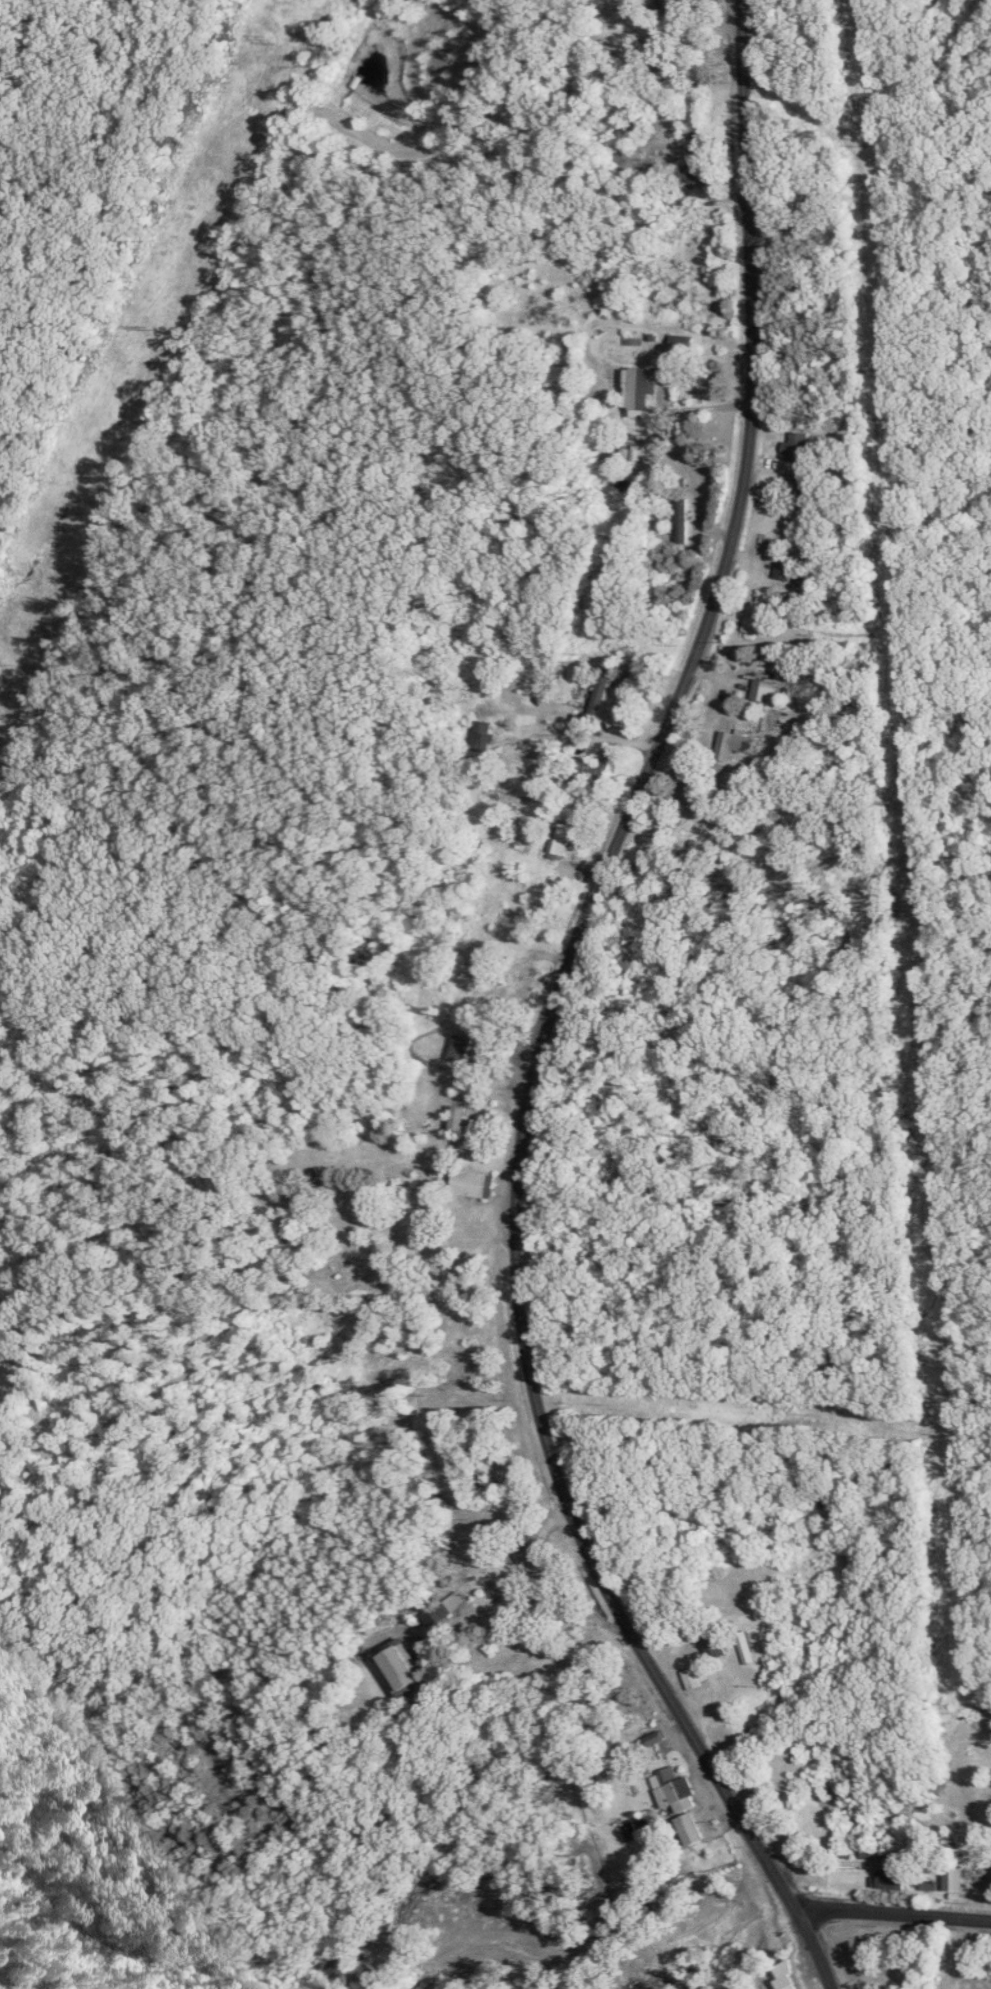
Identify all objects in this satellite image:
building: (671, 7)
building: (701, 173)
building: (687, 344)
building: (643, 391)
road: (713, 407)
building: (800, 448)
building: (808, 481)
building: (684, 520)
building: (789, 568)
building: (760, 616)
building: (770, 691)
road: (609, 735)
building: (488, 736)
building: (735, 745)
building: (610, 765)
building: (524, 838)
building: (564, 840)
road: (554, 1015)
building: (463, 1048)
building: (462, 1118)
building: (478, 1184)
building: (718, 1647)
building: (750, 1649)
building: (405, 1669)
building: (659, 1738)
building: (675, 1788)
building: (875, 1851)
building: (895, 1879)
building: (957, 1879)
road: (895, 1917)
building: (790, 1983)

